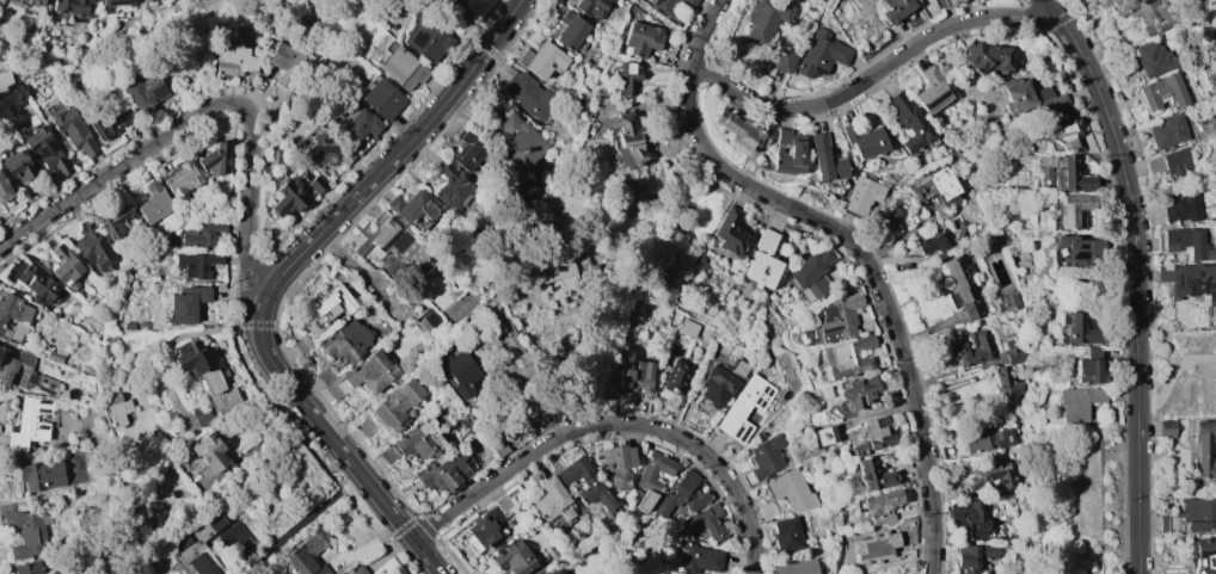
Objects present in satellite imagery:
building: (192, 0)
building: (36, 2)
building: (149, 2)
building: (688, 2)
building: (948, 2)
building: (112, 5)
building: (591, 6)
building: (72, 7)
building: (1215, 7)
building: (664, 10)
building: (895, 10)
park: (456, 13)
building: (1150, 14)
road: (475, 19)
building: (766, 19)
building: (570, 31)
building: (641, 38)
building: (425, 39)
building: (821, 55)
building: (987, 57)
building: (542, 58)
building: (1155, 58)
building: (234, 60)
building: (2, 61)
building: (784, 61)
building: (284, 63)
building: (401, 67)
road: (872, 75)
building: (627, 78)
building: (5, 80)
building: (932, 91)
building: (1162, 91)
building: (145, 92)
building: (530, 95)
building: (1032, 97)
building: (380, 98)
building: (909, 122)
building: (360, 125)
building: (70, 126)
building: (102, 126)
road: (180, 126)
building: (1168, 130)
building: (742, 131)
building: (1069, 132)
building: (626, 141)
building: (864, 141)
building: (521, 142)
building: (321, 148)
road: (401, 148)
building: (43, 149)
building: (467, 150)
building: (790, 153)
building: (214, 159)
building: (824, 160)
building: (1172, 165)
building: (17, 167)
building: (1075, 175)
building: (180, 178)
building: (942, 183)
road: (248, 187)
building: (453, 187)
building: (4, 190)
building: (295, 193)
building: (861, 195)
road: (70, 198)
building: (153, 203)
building: (411, 206)
building: (1180, 206)
building: (1075, 208)
building: (113, 218)
building: (962, 229)
building: (730, 232)
building: (204, 236)
building: (394, 240)
building: (1186, 242)
building: (931, 243)
building: (94, 248)
building: (1080, 248)
road: (856, 249)
road: (238, 260)
building: (761, 261)
building: (196, 264)
building: (65, 266)
building: (812, 272)
building: (558, 273)
road: (227, 277)
road: (1136, 277)
building: (1191, 280)
building: (33, 282)
road: (512, 284)
building: (960, 284)
road: (248, 291)
building: (1011, 302)
building: (186, 303)
building: (332, 303)
park: (460, 309)
building: (12, 316)
building: (839, 316)
road: (245, 322)
building: (425, 323)
building: (141, 325)
road: (248, 325)
building: (128, 326)
building: (688, 328)
building: (1082, 329)
building: (346, 340)
building: (301, 342)
building: (971, 348)
road: (162, 351)
building: (1013, 351)
building: (53, 356)
building: (848, 356)
road: (1184, 365)
building: (738, 368)
building: (1088, 368)
building: (369, 371)
building: (24, 372)
building: (459, 372)
building: (633, 372)
building: (205, 375)
building: (677, 376)
building: (717, 385)
building: (1006, 387)
building: (856, 391)
road: (282, 397)
building: (1077, 402)
building: (397, 403)
building: (117, 405)
building: (743, 407)
building: (202, 416)
building: (27, 422)
building: (366, 425)
road: (612, 425)
building: (1166, 427)
building: (876, 432)
building: (80, 436)
building: (759, 436)
building: (824, 436)
road: (328, 437)
building: (419, 439)
road: (301, 440)
building: (987, 440)
building: (498, 446)
building: (1205, 449)
building: (209, 451)
building: (387, 452)
building: (764, 457)
building: (616, 464)
building: (873, 474)
building: (41, 475)
building: (994, 475)
building: (440, 476)
building: (585, 481)
building: (645, 481)
road: (350, 483)
building: (791, 489)
building: (680, 494)
building: (552, 500)
building: (879, 505)
building: (767, 508)
building: (1198, 514)
building: (970, 520)
road: (302, 521)
building: (708, 523)
building: (1162, 523)
building: (269, 524)
building: (486, 524)
road: (405, 526)
road: (386, 529)
building: (786, 532)
building: (26, 533)
road: (398, 544)
building: (199, 545)
building: (874, 547)
building: (308, 554)
building: (1204, 554)
building: (972, 556)
building: (512, 557)
building: (698, 558)
road: (419, 567)
building: (797, 567)
building: (26, 568)
building: (357, 570)
building: (555, 572)
building: (546, 573)
building: (559, 573)

